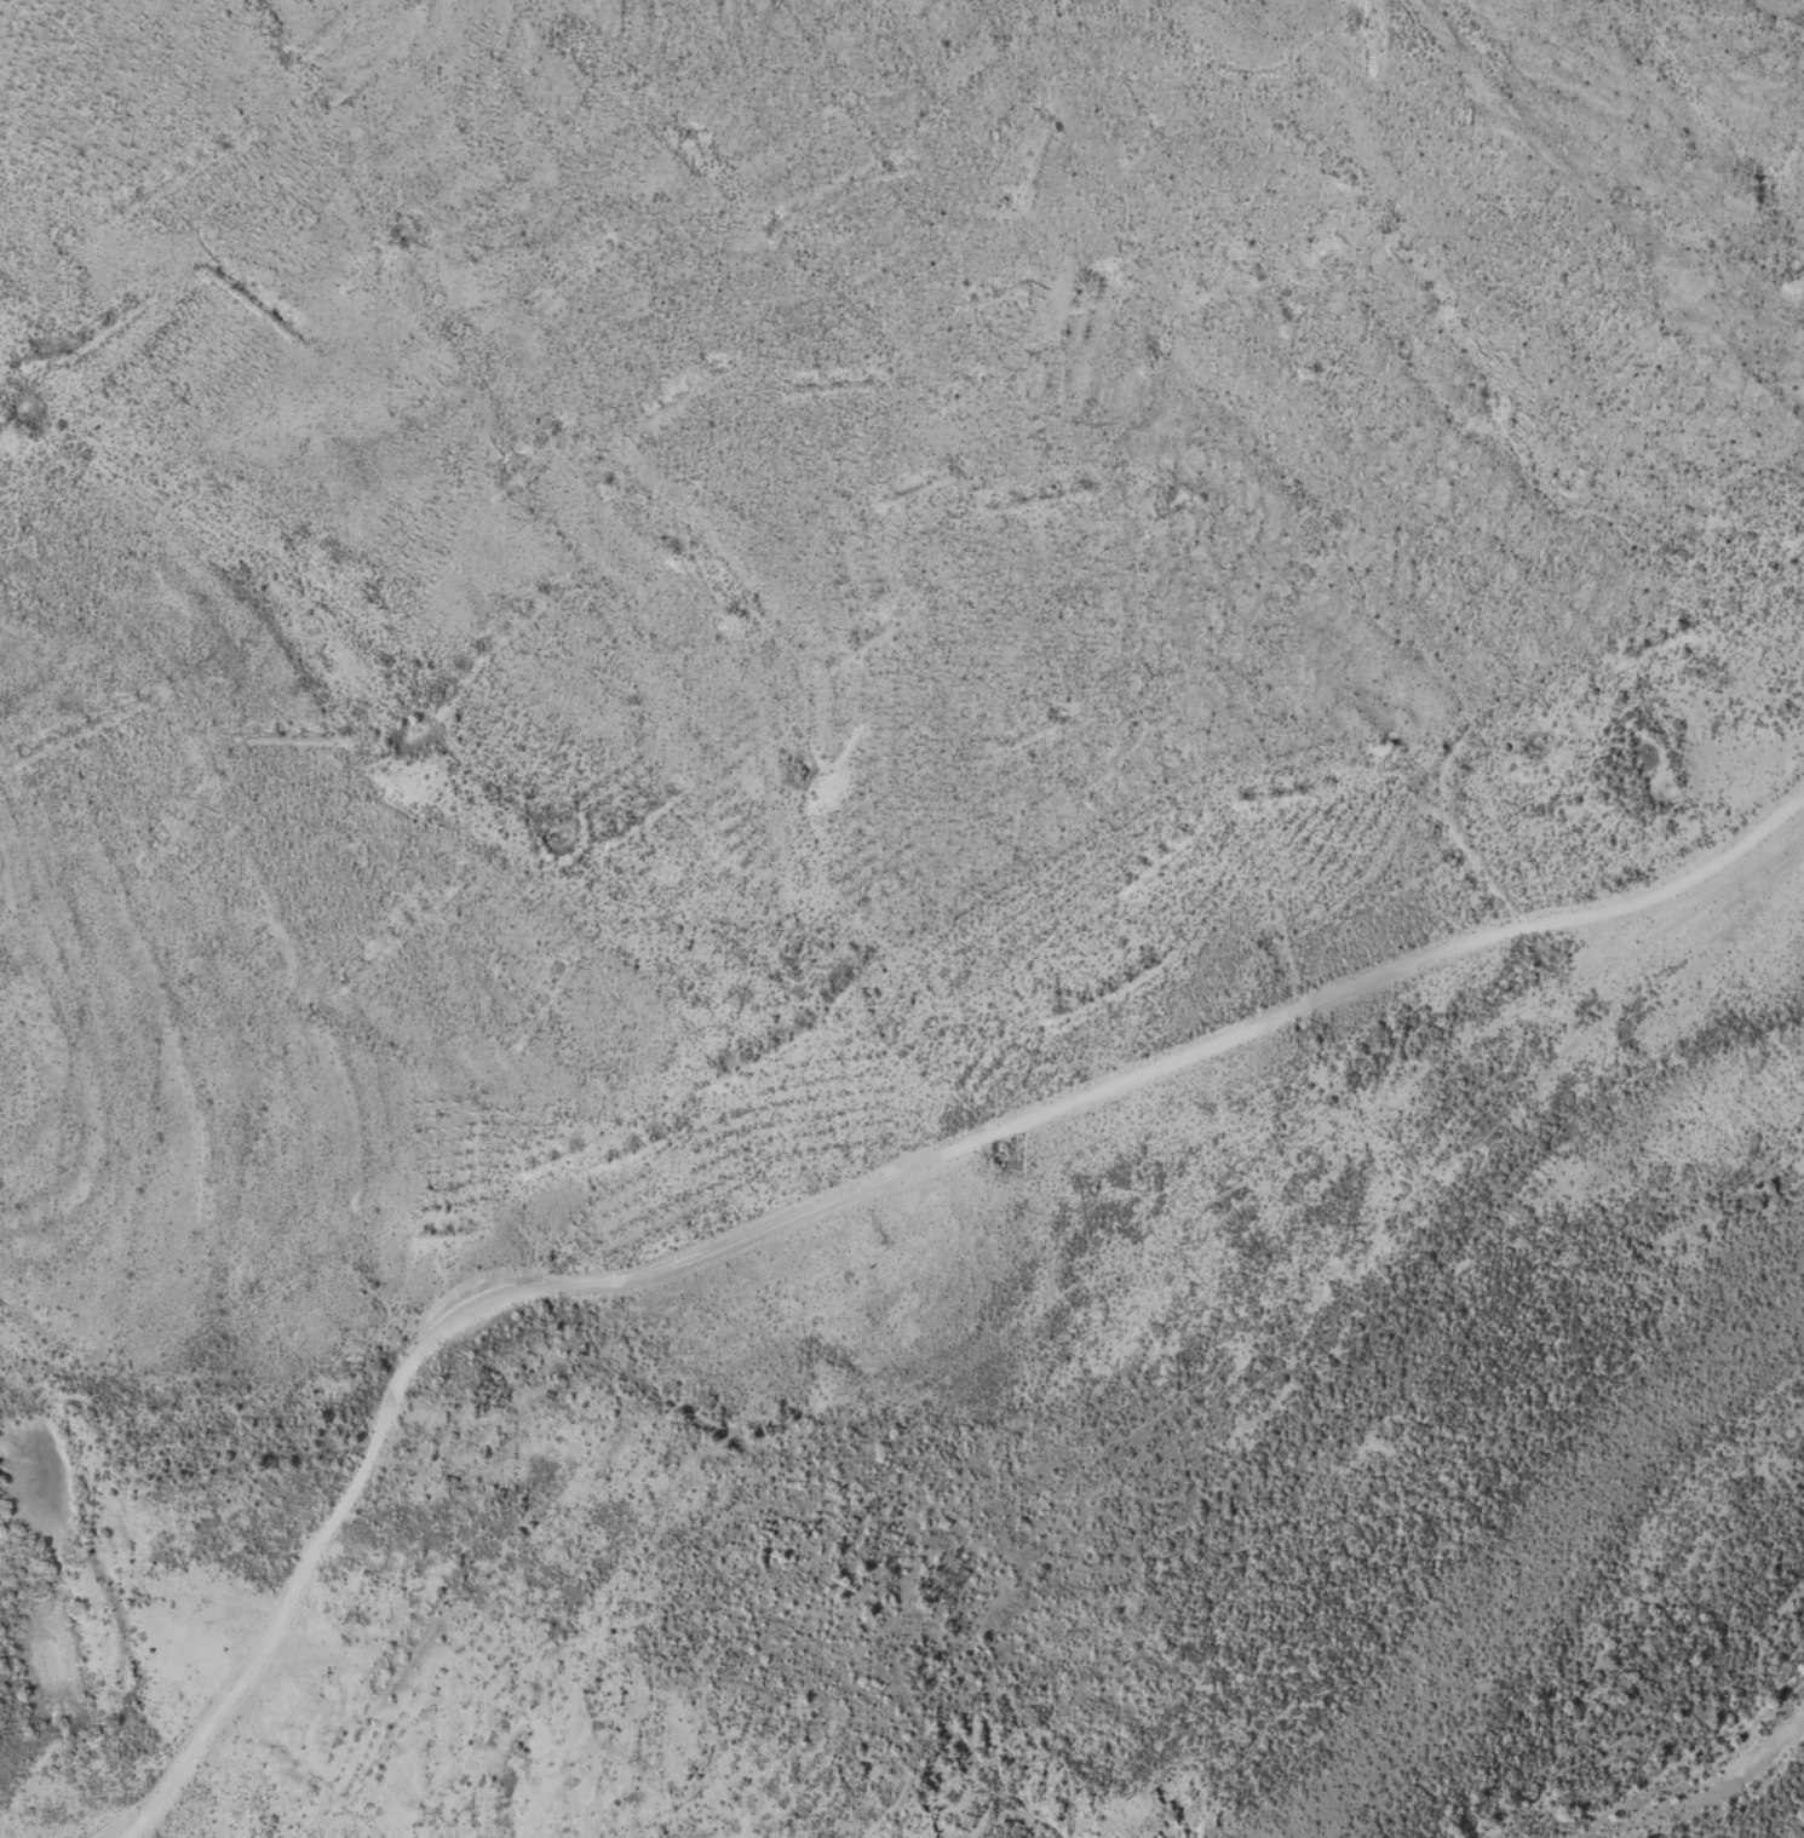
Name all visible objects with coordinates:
road: (861, 1190)

